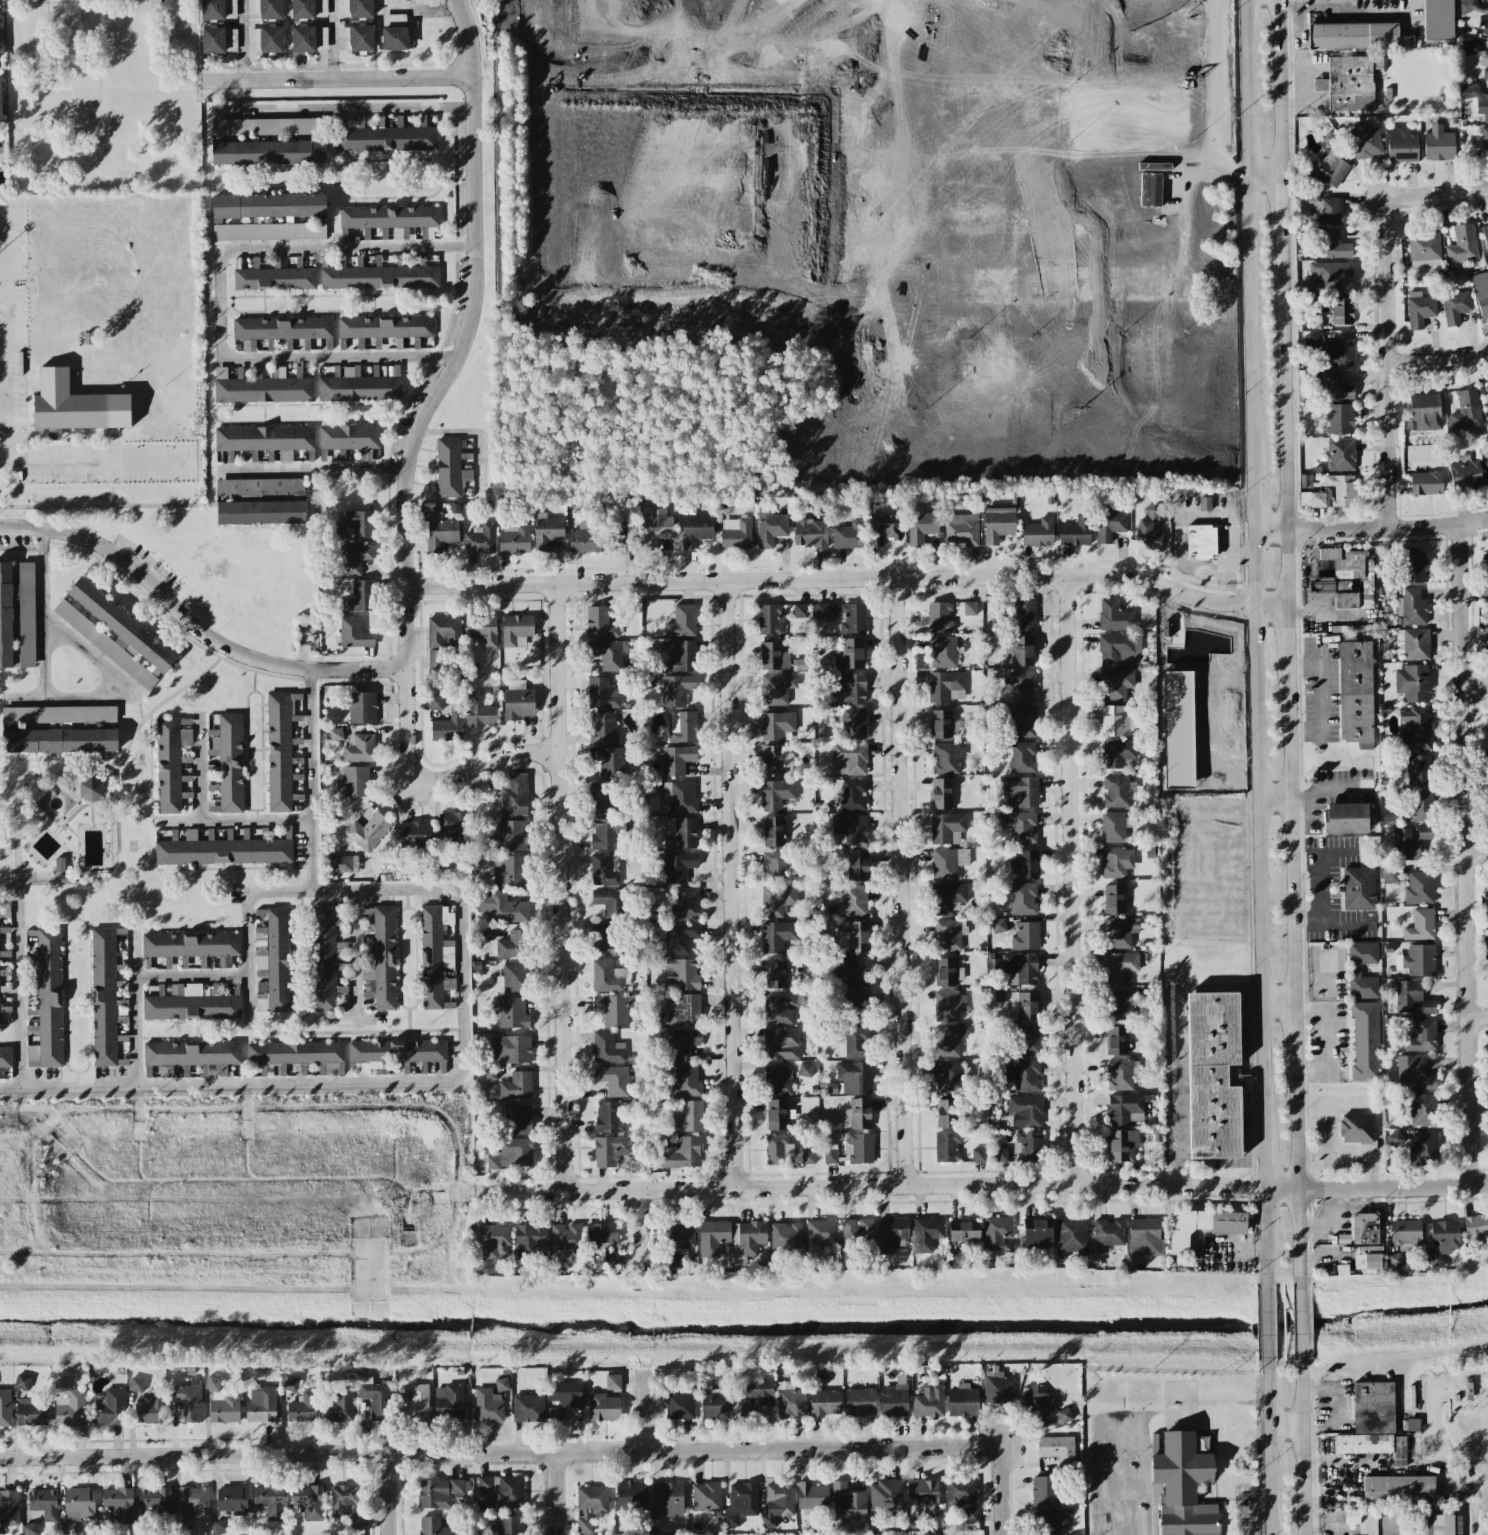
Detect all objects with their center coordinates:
building: (393, 2)
building: (1176, 3)
building: (1096, 4)
road: (1322, 6)
road: (929, 7)
road: (1050, 7)
building: (321, 8)
building: (342, 8)
building: (360, 8)
building: (218, 9)
building: (264, 9)
building: (302, 9)
road: (420, 10)
building: (1474, 12)
park: (674, 14)
road: (176, 16)
building: (393, 20)
building: (1437, 20)
park: (1048, 36)
building: (1356, 36)
building: (322, 38)
building: (342, 38)
building: (361, 38)
building: (394, 38)
road: (241, 39)
building: (265, 39)
building: (302, 39)
road: (331, 39)
building: (218, 40)
building: (1470, 47)
building: (1379, 63)
building: (1485, 64)
road: (339, 78)
building: (1348, 83)
road: (1276, 86)
road: (541, 92)
park: (679, 93)
road: (1221, 96)
building: (1478, 100)
building: (0, 101)
road: (342, 108)
park: (1171, 114)
park: (1114, 115)
park: (1142, 115)
park: (1085, 116)
building: (264, 127)
building: (386, 137)
building: (1481, 140)
building: (1366, 143)
building: (1438, 144)
building: (1401, 145)
building: (268, 153)
building: (1329, 169)
road: (1262, 172)
road: (1278, 193)
road: (1435, 194)
building: (268, 206)
building: (1323, 208)
park: (680, 212)
building: (389, 217)
building: (268, 231)
road: (1246, 235)
building: (1485, 236)
building: (1462, 244)
building: (1335, 245)
park: (859, 247)
building: (1424, 248)
building: (1325, 274)
road: (684, 276)
building: (379, 277)
building: (274, 278)
road: (220, 291)
building: (1481, 292)
building: (1455, 306)
building: (1419, 309)
building: (1341, 311)
building: (385, 326)
building: (280, 329)
building: (1333, 350)
road: (1437, 361)
road: (1385, 362)
building: (360, 385)
building: (1334, 387)
building: (261, 388)
building: (1486, 389)
building: (75, 406)
road: (1282, 408)
road: (5, 410)
road: (427, 410)
building: (1466, 411)
building: (1424, 412)
building: (1487, 417)
building: (1339, 419)
building: (350, 438)
building: (265, 439)
building: (1340, 455)
road: (59, 464)
building: (1486, 466)
building: (450, 468)
road: (312, 469)
building: (1465, 474)
building: (1305, 481)
building: (1426, 483)
building: (1331, 493)
road: (1249, 500)
building: (261, 501)
building: (1204, 503)
building: (1152, 510)
road: (1213, 512)
building: (359, 524)
building: (998, 524)
building: (1109, 524)
building: (920, 525)
building: (656, 527)
building: (770, 527)
building: (883, 528)
building: (962, 529)
road: (1369, 529)
building: (695, 530)
building: (546, 531)
building: (440, 532)
building: (1038, 532)
building: (1075, 532)
building: (735, 533)
building: (810, 533)
building: (849, 535)
building: (621, 536)
building: (1147, 536)
building: (513, 538)
building: (585, 538)
building: (479, 539)
building: (1201, 542)
road: (1240, 552)
building: (353, 558)
building: (1485, 561)
building: (1344, 563)
road: (1226, 566)
building: (1415, 567)
road: (847, 580)
building: (1320, 585)
building: (1484, 588)
building: (359, 597)
building: (1355, 598)
building: (1411, 607)
road: (52, 608)
building: (969, 608)
building: (799, 610)
building: (824, 610)
building: (5, 614)
building: (26, 614)
building: (1024, 615)
building: (1114, 616)
building: (939, 617)
building: (852, 618)
building: (770, 619)
building: (681, 622)
building: (599, 623)
building: (121, 624)
road: (192, 625)
building: (1166, 628)
building: (481, 630)
building: (516, 630)
building: (353, 633)
building: (1486, 633)
road: (1284, 634)
building: (441, 638)
building: (1412, 644)
building: (104, 645)
building: (1118, 649)
building: (1022, 651)
building: (943, 652)
building: (852, 653)
building: (608, 654)
building: (773, 656)
building: (680, 657)
road: (1303, 664)
building: (1412, 683)
building: (1115, 684)
building: (946, 686)
building: (1022, 686)
building: (852, 687)
road: (1476, 688)
building: (674, 689)
building: (775, 689)
road: (145, 692)
building: (602, 693)
building: (1355, 693)
building: (517, 700)
building: (435, 703)
road: (1321, 703)
building: (361, 707)
building: (479, 710)
building: (1022, 720)
building: (1114, 720)
building: (1487, 721)
building: (853, 724)
building: (941, 724)
building: (776, 725)
building: (682, 726)
building: (447, 727)
building: (603, 727)
building: (1178, 728)
building: (1414, 729)
building: (60, 730)
building: (335, 734)
building: (281, 749)
building: (360, 749)
building: (1117, 753)
building: (1021, 756)
road: (511, 757)
building: (851, 757)
building: (946, 758)
building: (677, 760)
building: (771, 760)
building: (609, 761)
building: (171, 762)
building: (228, 762)
building: (1418, 769)
road: (315, 775)
road: (205, 776)
building: (355, 781)
building: (1487, 782)
building: (90, 789)
building: (1021, 791)
building: (1115, 791)
building: (851, 793)
building: (941, 793)
building: (776, 794)
road: (1321, 794)
building: (513, 795)
building: (679, 797)
building: (605, 798)
road: (1271, 802)
building: (1417, 807)
building: (1343, 816)
road: (234, 823)
building: (454, 826)
building: (1021, 826)
building: (1114, 826)
building: (851, 827)
building: (946, 828)
building: (773, 831)
building: (367, 832)
building: (1424, 832)
building: (607, 833)
building: (680, 833)
building: (414, 834)
road: (1288, 834)
building: (512, 835)
road: (1255, 837)
building: (1405, 845)
building: (221, 850)
road: (1467, 854)
road: (1478, 855)
building: (948, 862)
building: (1116, 862)
building: (59, 864)
building: (340, 864)
building: (1027, 864)
building: (857, 865)
building: (678, 866)
building: (773, 866)
building: (604, 869)
building: (510, 871)
building: (1390, 873)
road: (1073, 879)
road: (903, 883)
road: (733, 885)
road: (562, 887)
building: (1358, 888)
building: (1419, 888)
road: (1322, 889)
building: (1487, 893)
building: (948, 898)
building: (1022, 898)
building: (1114, 899)
building: (777, 900)
building: (854, 901)
building: (610, 903)
building: (686, 904)
building: (501, 906)
building: (1420, 925)
building: (998, 926)
building: (1119, 931)
building: (485, 933)
building: (948, 934)
building: (777, 935)
building: (859, 936)
building: (1025, 936)
building: (679, 937)
building: (603, 940)
building: (190, 944)
building: (513, 944)
road: (356, 951)
building: (325, 958)
building: (434, 959)
building: (1417, 960)
building: (382, 961)
building: (272, 962)
building: (993, 964)
building: (1118, 966)
building: (1020, 969)
building: (1354, 970)
road: (24, 971)
building: (854, 972)
building: (948, 972)
road: (194, 973)
building: (682, 974)
building: (776, 974)
building: (608, 977)
building: (513, 978)
road: (1322, 978)
building: (995, 995)
building: (104, 997)
building: (1412, 997)
building: (48, 1002)
road: (1248, 1002)
road: (1276, 1002)
building: (191, 1003)
building: (1119, 1004)
road: (139, 1005)
building: (948, 1005)
building: (1023, 1006)
building: (855, 1007)
building: (781, 1008)
building: (613, 1009)
building: (681, 1012)
building: (512, 1013)
road: (360, 1018)
road: (1479, 1019)
road: (1293, 1030)
building: (31, 1031)
road: (465, 1033)
building: (1422, 1036)
road: (1249, 1037)
building: (1028, 1039)
building: (948, 1040)
building: (1116, 1040)
road: (1324, 1040)
building: (1365, 1040)
building: (856, 1042)
building: (681, 1043)
building: (781, 1043)
building: (607, 1048)
building: (511, 1049)
building: (396, 1052)
building: (193, 1054)
building: (299, 1055)
building: (5, 1057)
building: (362, 1069)
building: (805, 1070)
building: (1408, 1070)
building: (489, 1074)
building: (1121, 1074)
building: (1023, 1075)
building: (1213, 1075)
building: (949, 1076)
building: (854, 1077)
building: (613, 1079)
building: (686, 1081)
building: (778, 1081)
building: (1428, 1082)
building: (516, 1086)
road: (1174, 1088)
building: (1125, 1109)
building: (1423, 1109)
building: (1025, 1110)
building: (858, 1113)
building: (946, 1113)
road: (1252, 1113)
building: (777, 1114)
building: (609, 1117)
building: (687, 1117)
building: (519, 1120)
building: (1356, 1128)
building: (1395, 1138)
building: (1028, 1145)
building: (1122, 1145)
building: (946, 1147)
building: (1424, 1147)
building: (860, 1148)
road: (1253, 1148)
building: (777, 1149)
building: (608, 1150)
building: (511, 1153)
building: (682, 1153)
building: (1000, 1154)
building: (978, 1155)
building: (809, 1157)
building: (830, 1157)
road: (1262, 1165)
road: (1296, 1170)
road: (993, 1184)
building: (1202, 1226)
building: (1476, 1226)
building: (1364, 1228)
road: (642, 1229)
building: (821, 1231)
building: (857, 1231)
building: (964, 1231)
building: (602, 1232)
building: (996, 1232)
building: (1109, 1232)
building: (1405, 1232)
building: (926, 1234)
building: (1036, 1234)
building: (786, 1235)
building: (891, 1235)
building: (566, 1236)
building: (713, 1236)
building: (1070, 1236)
building: (749, 1237)
road: (1263, 1237)
building: (1144, 1238)
building: (528, 1239)
building: (1442, 1240)
building: (494, 1242)
building: (677, 1243)
building: (1368, 1250)
building: (609, 1259)
building: (1368, 1261)
road: (1298, 1321)
road: (1264, 1322)
building: (21, 1382)
building: (612, 1382)
building: (289, 1383)
building: (136, 1384)
building: (501, 1384)
building: (997, 1388)
building: (757, 1392)
building: (375, 1397)
building: (894, 1399)
building: (1039, 1399)
building: (189, 1400)
building: (790, 1400)
building: (448, 1401)
building: (962, 1401)
building: (859, 1402)
building: (928, 1402)
building: (221, 1403)
building: (414, 1403)
building: (824, 1403)
building: (261, 1404)
building: (488, 1405)
building: (715, 1405)
building: (338, 1406)
building: (679, 1406)
building: (108, 1407)
building: (603, 1407)
building: (5, 1408)
building: (302, 1408)
building: (528, 1408)
building: (70, 1409)
building: (149, 1409)
road: (646, 1411)
building: (31, 1412)
building: (1064, 1415)
road: (1137, 1415)
building: (1373, 1424)
road: (1283, 1428)
road: (1267, 1445)
road: (1300, 1446)
building: (1057, 1449)
road: (543, 1451)
road: (1335, 1460)
building: (1183, 1486)
building: (504, 1489)
road: (1323, 1489)
building: (1398, 1491)
road: (1477, 1491)
building: (441, 1492)
building: (1044, 1492)
road: (388, 1493)
road: (556, 1493)
building: (923, 1494)
building: (630, 1495)
building: (885, 1495)
building: (706, 1496)
building: (812, 1496)
building: (962, 1497)
building: (193, 1498)
building: (342, 1499)
building: (667, 1499)
building: (232, 1500)
building: (270, 1501)
building: (309, 1501)
building: (154, 1502)
building: (777, 1502)
building: (848, 1502)
building: (43, 1503)
building: (119, 1503)
building: (741, 1503)
building: (79, 1504)
building: (590, 1506)
road: (1246, 1507)
building: (9, 1508)
building: (1352, 1516)
flagpole: (1318, 1518)
building: (1053, 1519)
building: (356, 1520)
road: (1325, 1522)
building: (1442, 1524)
building: (509, 1525)
building: (433, 1526)
building: (221, 1527)
building: (68, 1528)
building: (29, 1529)
flagpole: (1318, 1531)
building: (1073, 1534)

